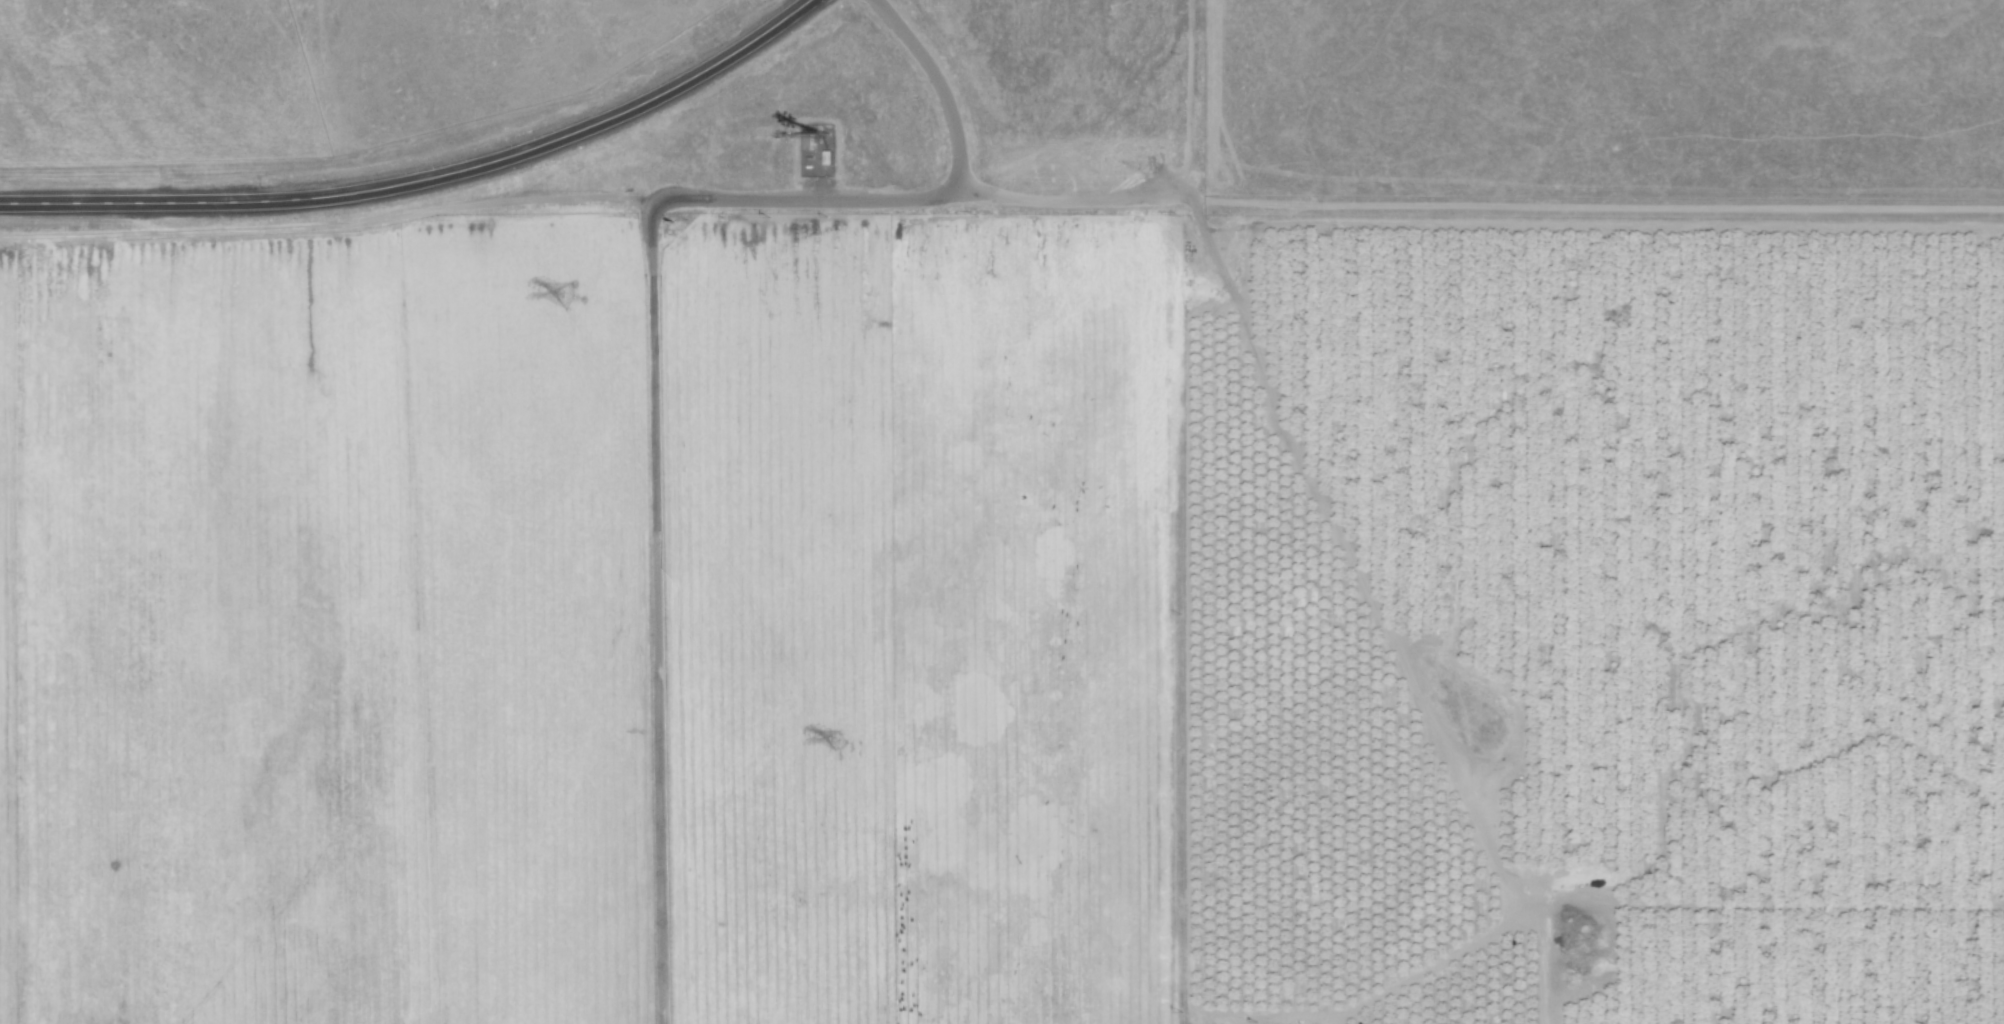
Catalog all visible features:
building: (809, 141)
road: (427, 177)
building: (567, 296)
power tower: (567, 296)
road: (661, 354)
power tower: (836, 741)

